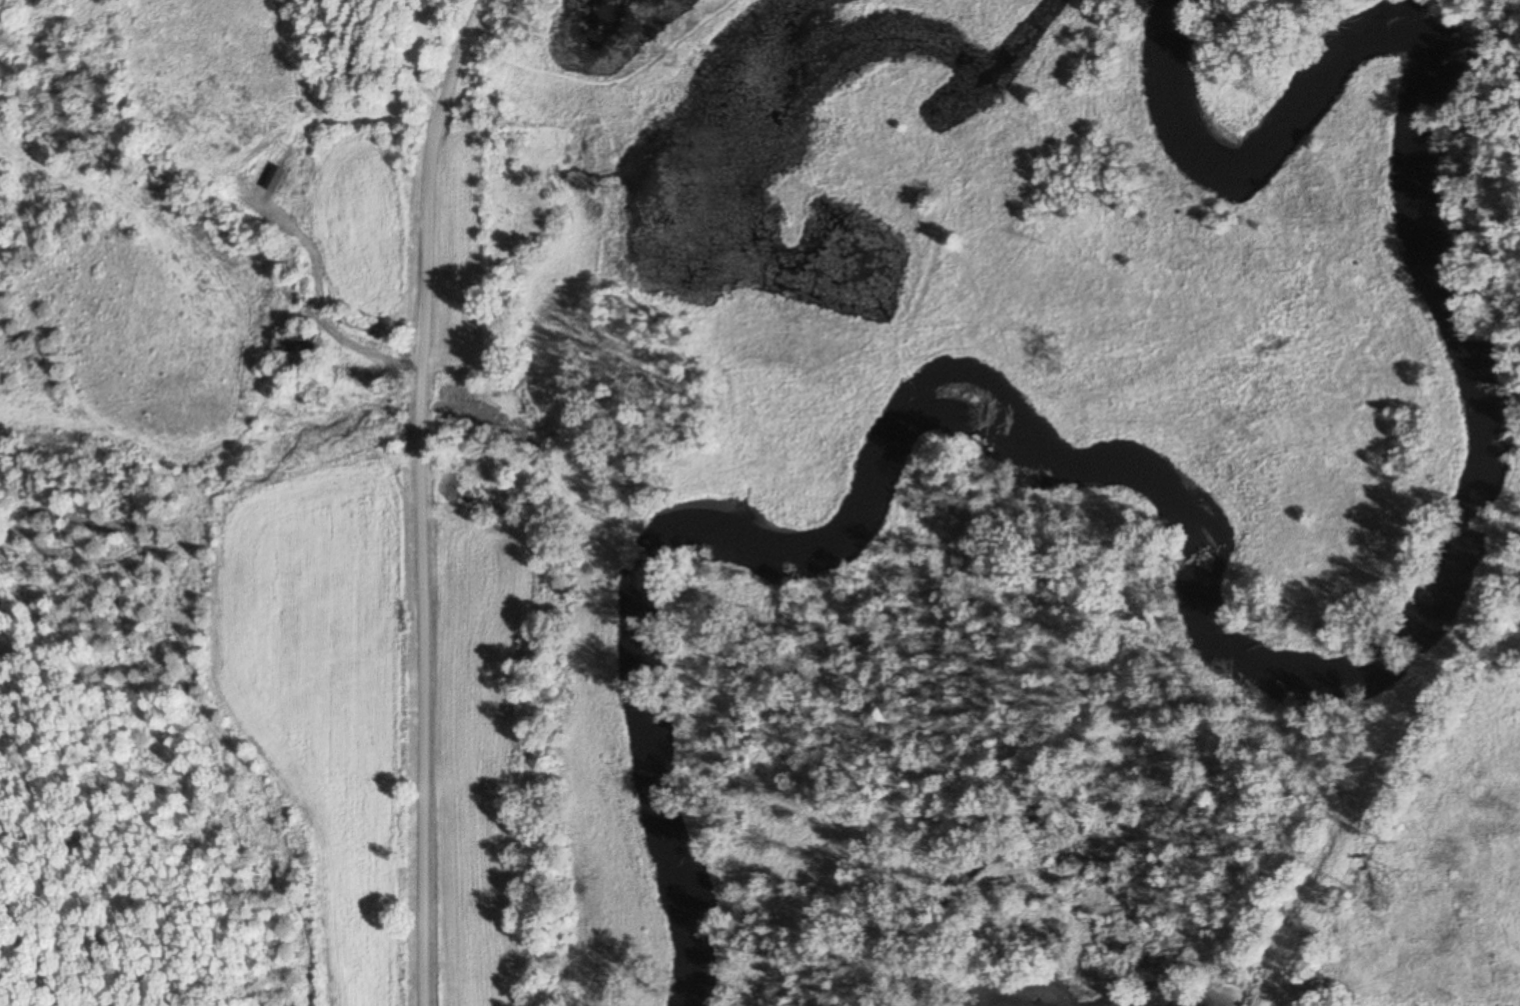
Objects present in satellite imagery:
building: (297, 344)
road: (425, 498)
river: (1218, 623)

